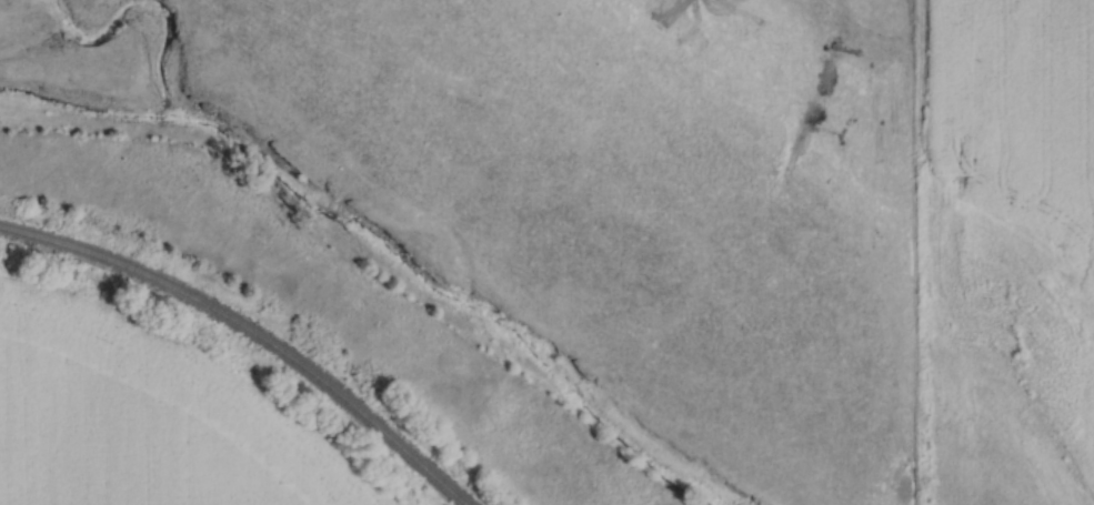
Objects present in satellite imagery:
river: (314, 242)
river: (375, 253)
railway: (249, 334)

